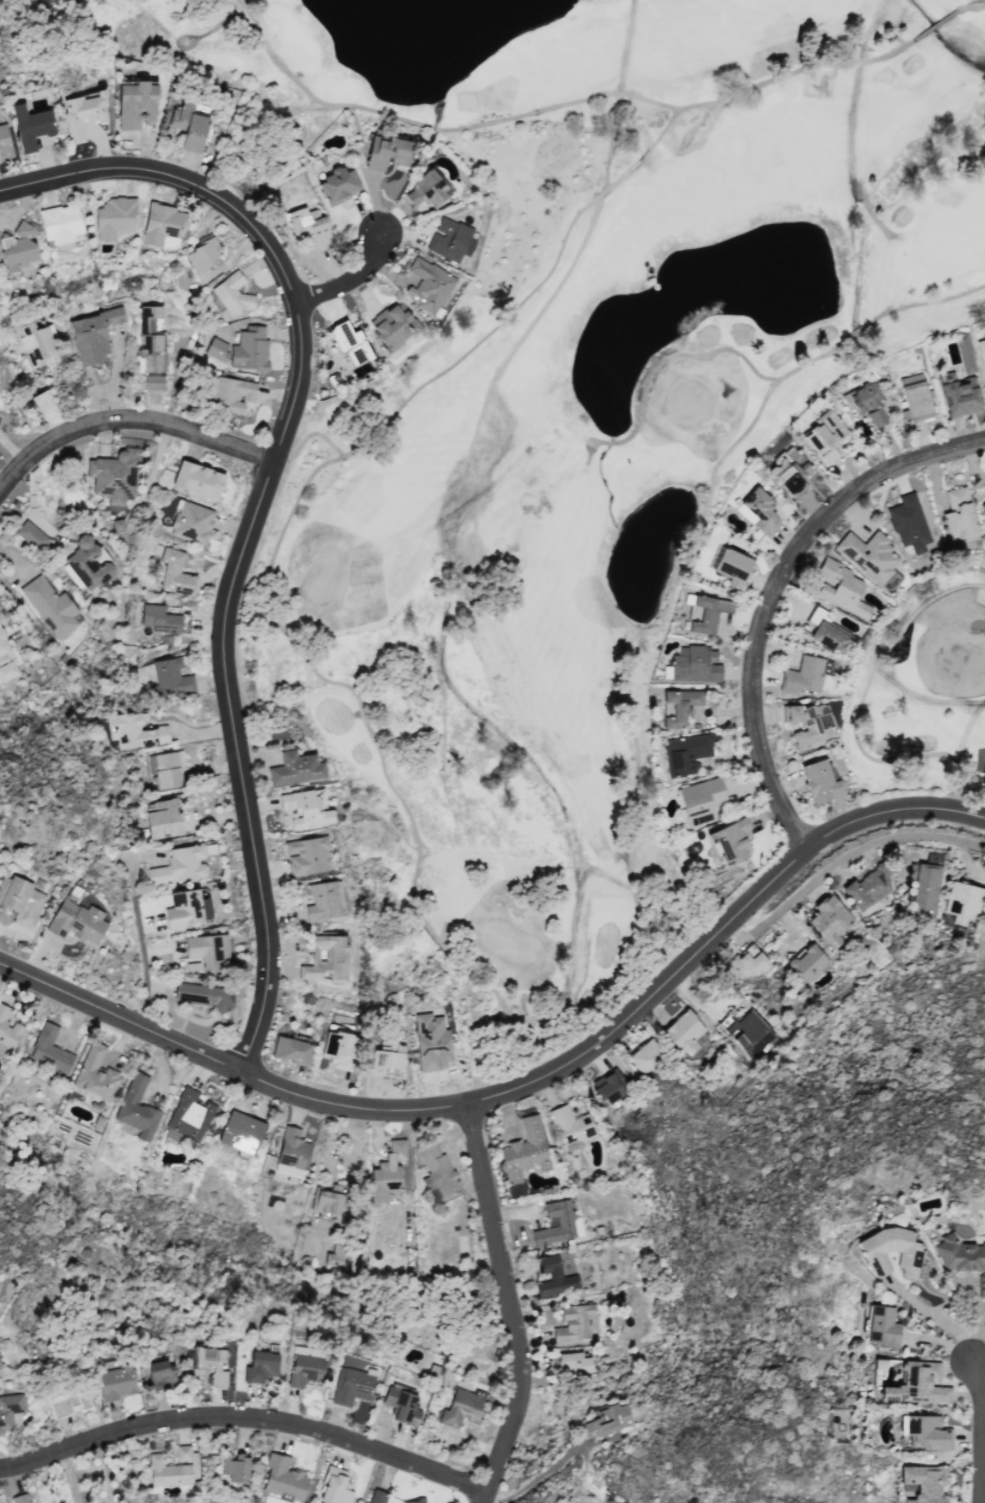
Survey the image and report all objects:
road: (962, 5)
road: (935, 23)
building: (136, 104)
building: (83, 112)
building: (191, 123)
building: (31, 125)
road: (433, 126)
building: (4, 142)
building: (387, 152)
building: (337, 185)
building: (428, 187)
building: (114, 217)
building: (61, 223)
building: (161, 223)
building: (308, 223)
building: (450, 239)
building: (19, 247)
building: (203, 252)
road: (346, 279)
building: (427, 284)
building: (230, 295)
building: (394, 323)
building: (92, 334)
building: (349, 342)
building: (39, 344)
building: (151, 347)
building: (249, 348)
building: (216, 349)
building: (981, 351)
building: (231, 394)
building: (915, 396)
building: (42, 400)
building: (865, 403)
road: (128, 417)
building: (825, 436)
park: (529, 456)
building: (114, 475)
building: (198, 479)
road: (2, 480)
building: (792, 486)
road: (258, 509)
building: (758, 509)
building: (983, 509)
building: (959, 513)
building: (191, 521)
building: (908, 522)
building: (117, 524)
building: (28, 532)
building: (870, 555)
building: (88, 563)
building: (732, 565)
building: (171, 567)
building: (841, 587)
road: (774, 591)
building: (50, 605)
building: (708, 613)
building: (160, 618)
building: (827, 631)
building: (3, 643)
park: (915, 656)
building: (688, 663)
building: (828, 666)
building: (7, 670)
building: (803, 675)
building: (170, 677)
road: (860, 702)
building: (680, 705)
building: (810, 721)
building: (135, 731)
building: (687, 753)
building: (296, 767)
building: (165, 769)
building: (821, 781)
building: (701, 799)
building: (305, 808)
building: (162, 822)
building: (731, 841)
road: (417, 843)
building: (306, 854)
road: (844, 857)
building: (932, 858)
building: (179, 865)
building: (925, 886)
building: (868, 888)
building: (23, 899)
building: (322, 900)
building: (962, 901)
building: (186, 908)
building: (829, 919)
building: (78, 920)
road: (139, 931)
building: (206, 950)
building: (326, 958)
building: (749, 961)
building: (809, 961)
building: (202, 994)
building: (749, 1023)
building: (8, 1027)
building: (684, 1031)
building: (431, 1041)
building: (340, 1045)
building: (49, 1049)
building: (290, 1049)
building: (645, 1056)
building: (91, 1057)
building: (387, 1058)
road: (525, 1086)
building: (609, 1086)
building: (137, 1107)
building: (189, 1114)
building: (572, 1126)
building: (241, 1131)
building: (525, 1149)
building: (291, 1151)
building: (436, 1168)
building: (387, 1171)
building: (326, 1199)
building: (569, 1221)
building: (890, 1249)
building: (334, 1257)
building: (962, 1257)
building: (553, 1276)
road: (510, 1304)
road: (935, 1316)
building: (576, 1322)
building: (882, 1326)
building: (574, 1362)
building: (209, 1363)
building: (261, 1365)
building: (305, 1369)
building: (432, 1370)
building: (160, 1373)
building: (116, 1381)
building: (351, 1385)
building: (927, 1386)
building: (460, 1395)
building: (11, 1402)
building: (60, 1403)
building: (402, 1405)
road: (246, 1417)
building: (607, 1419)
building: (929, 1431)
road: (982, 1431)
building: (182, 1452)
building: (235, 1466)
building: (160, 1469)
road: (101, 1471)
road: (70, 1476)
building: (283, 1477)
building: (925, 1481)
building: (336, 1486)
building: (377, 1496)
building: (20, 1498)
building: (414, 1501)

